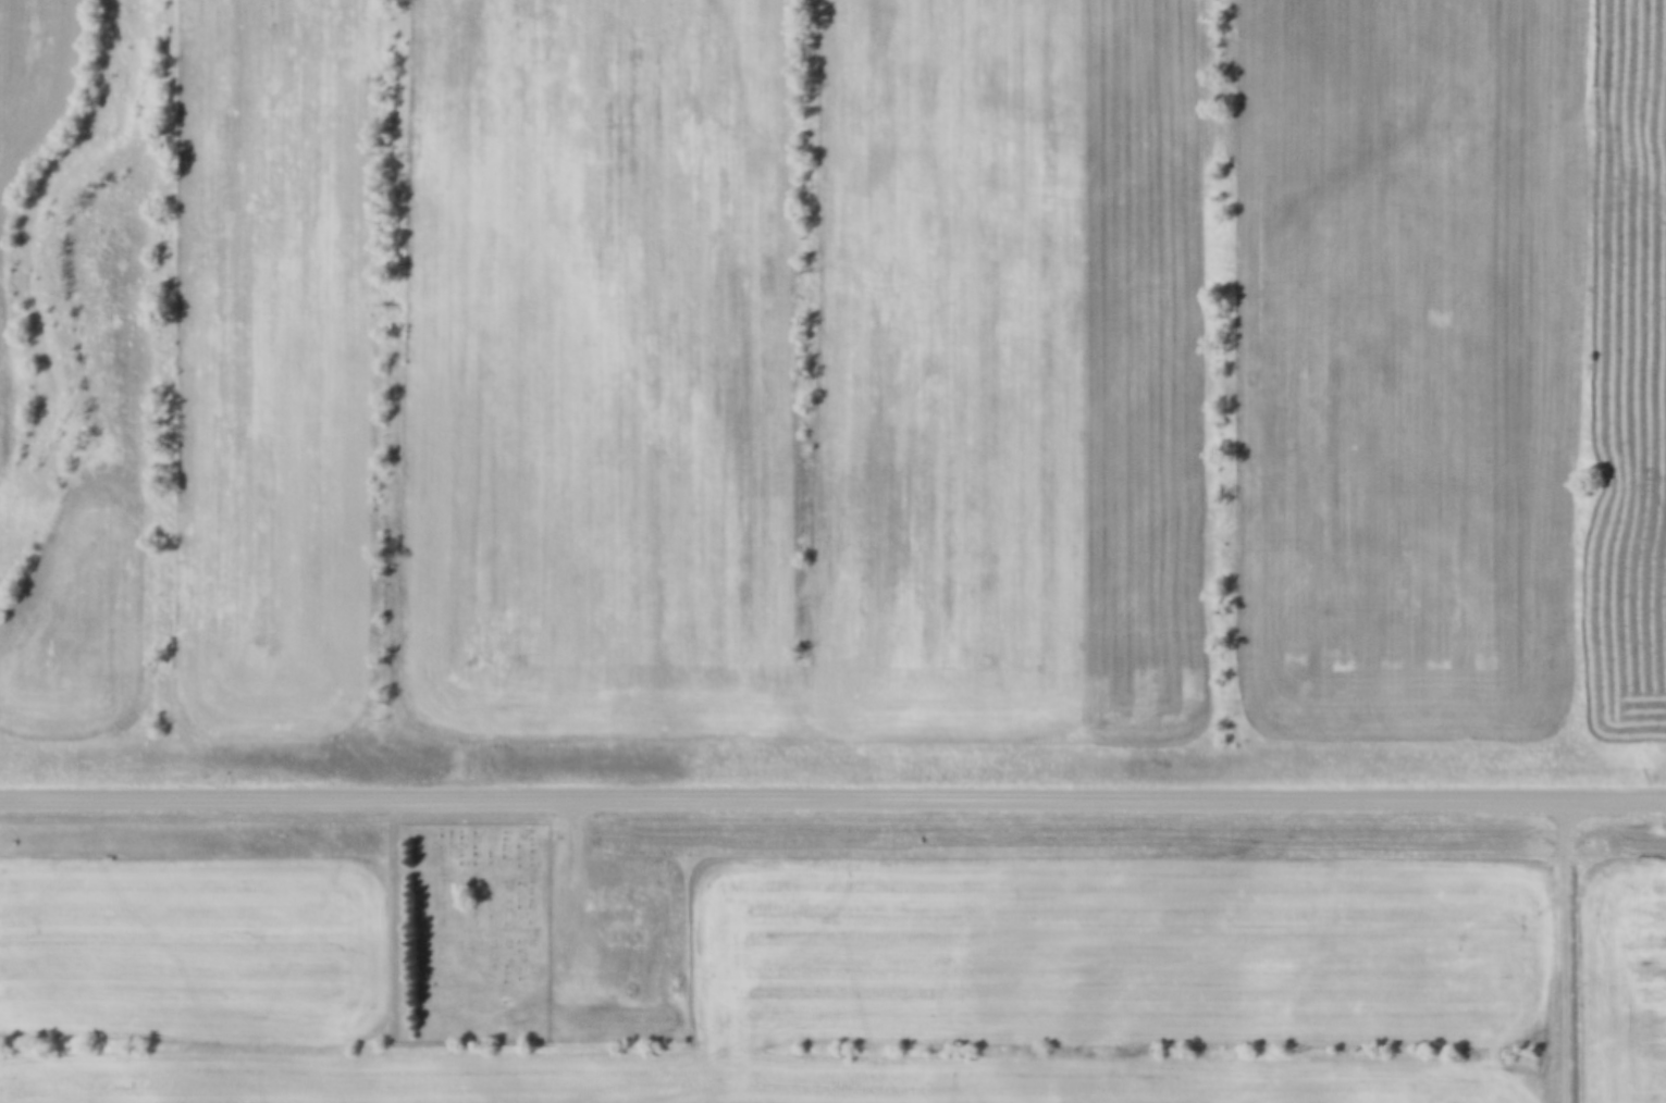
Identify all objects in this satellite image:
road: (832, 795)
road: (580, 884)
road: (1568, 950)

